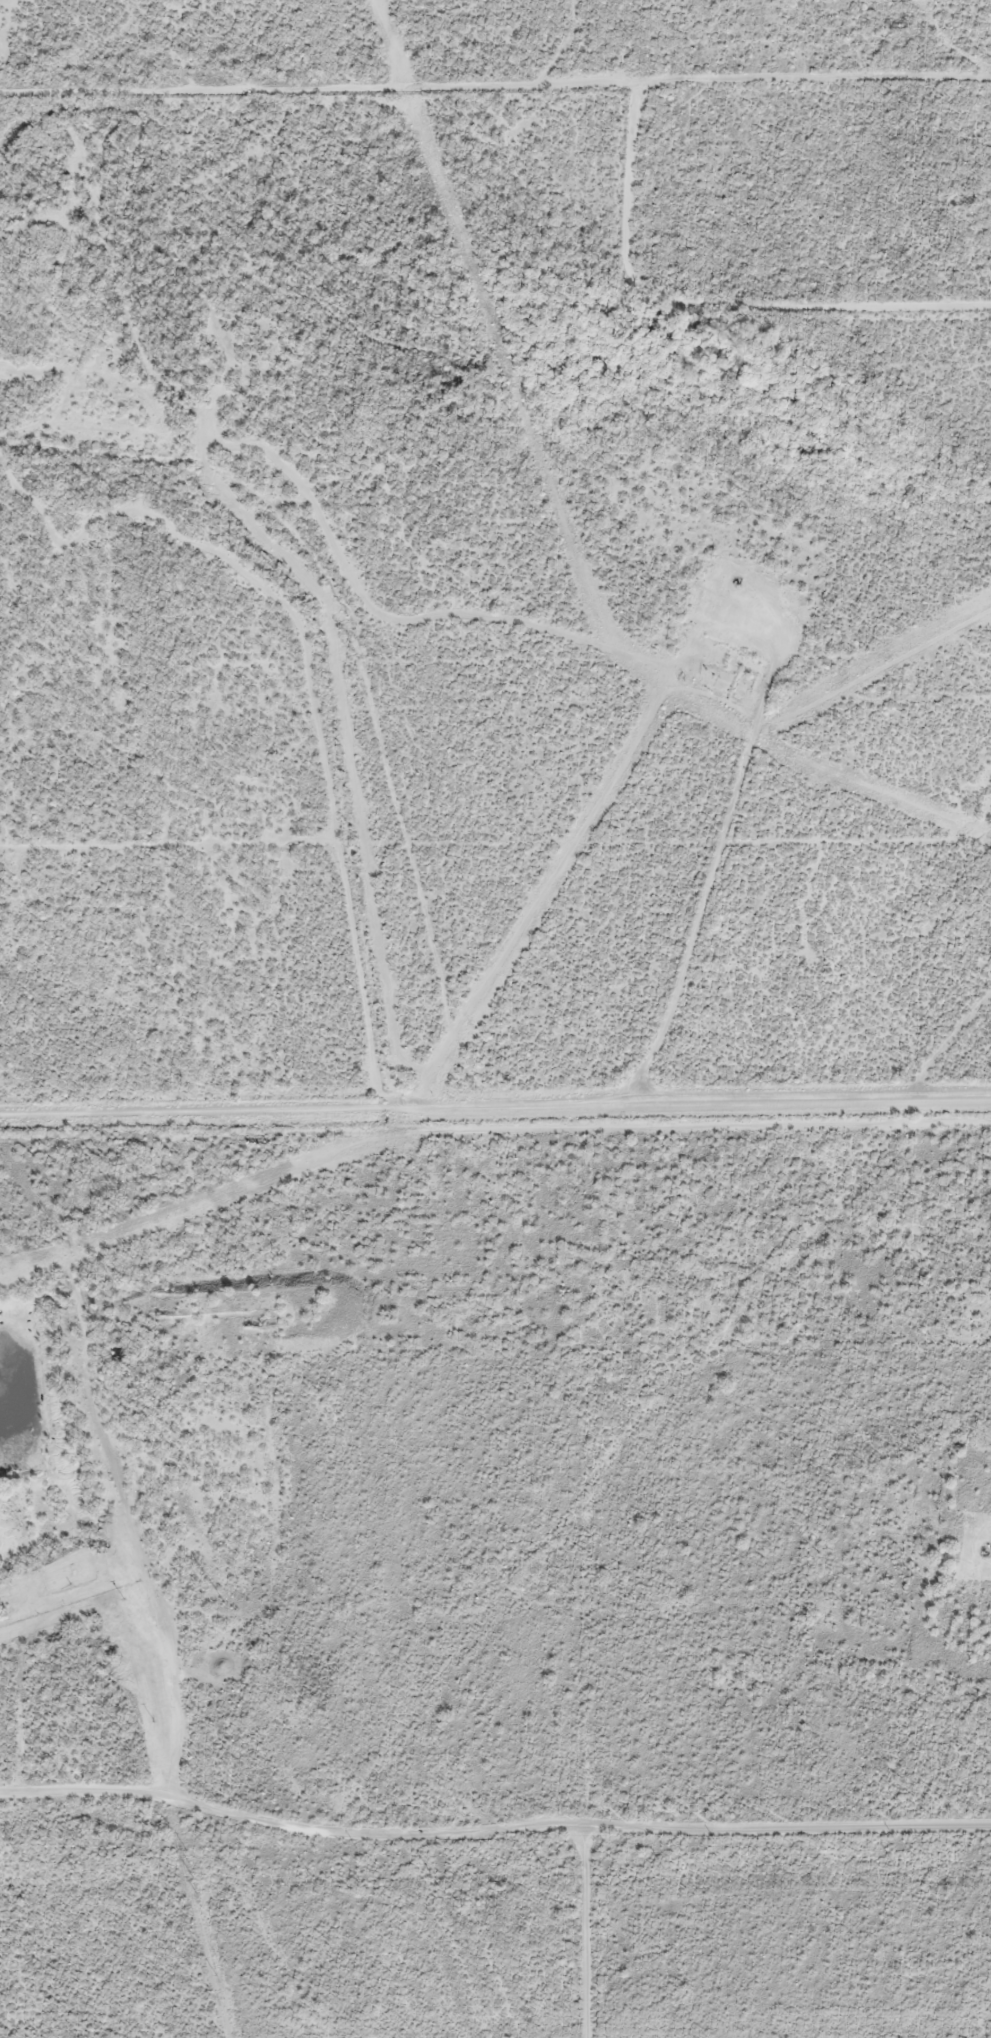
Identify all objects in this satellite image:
road: (495, 1115)
road: (493, 1841)

